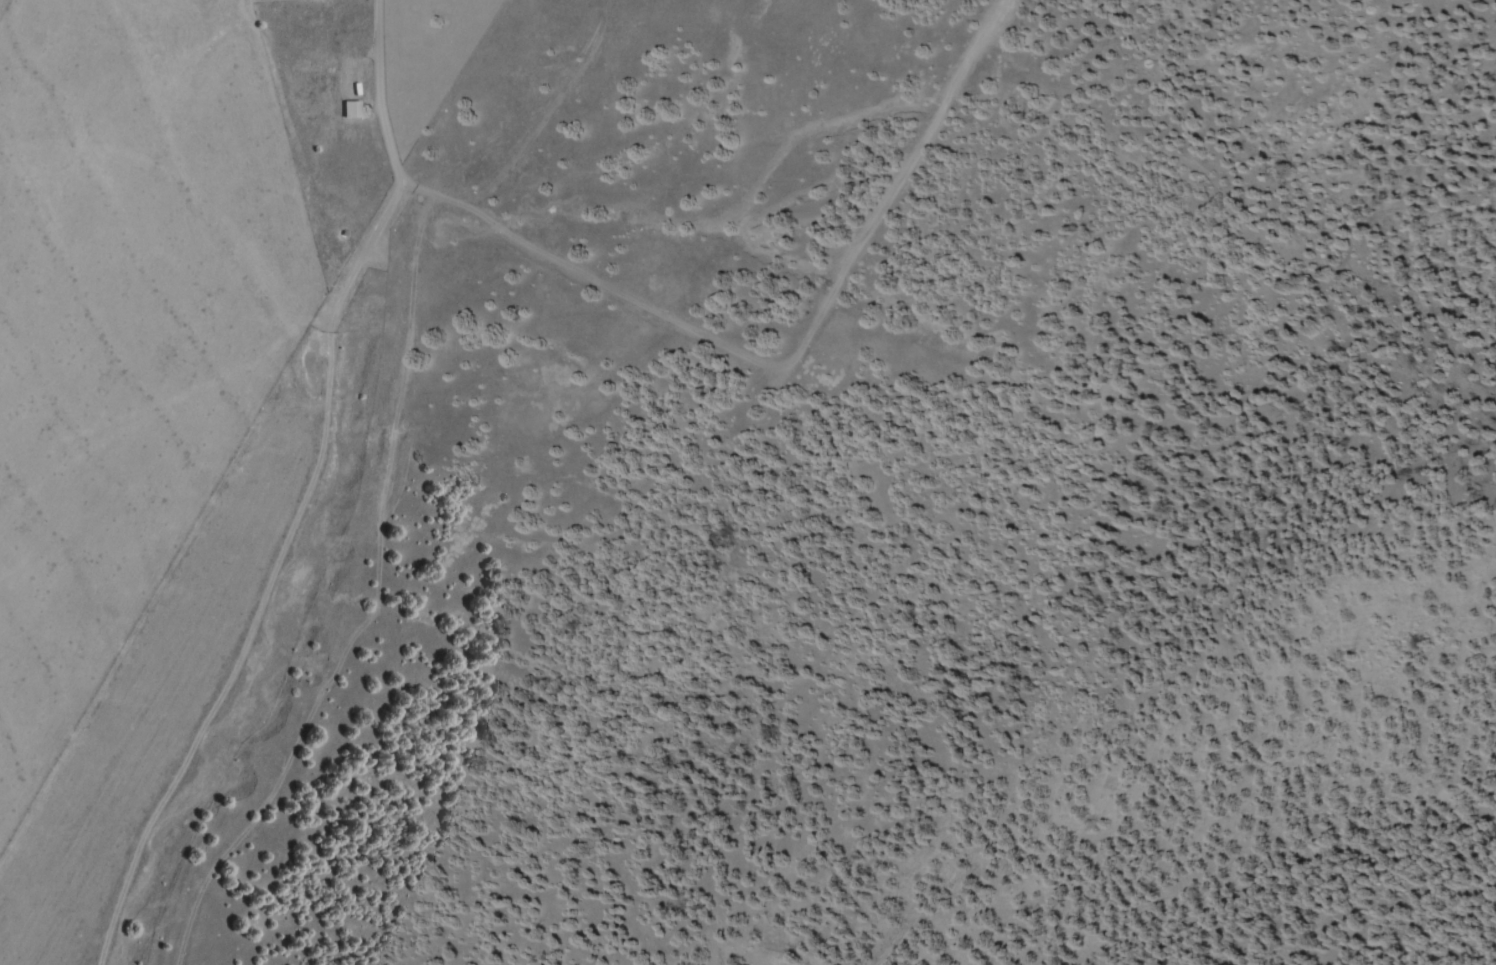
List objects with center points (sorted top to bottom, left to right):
building: (347, 110)
building: (802, 214)

